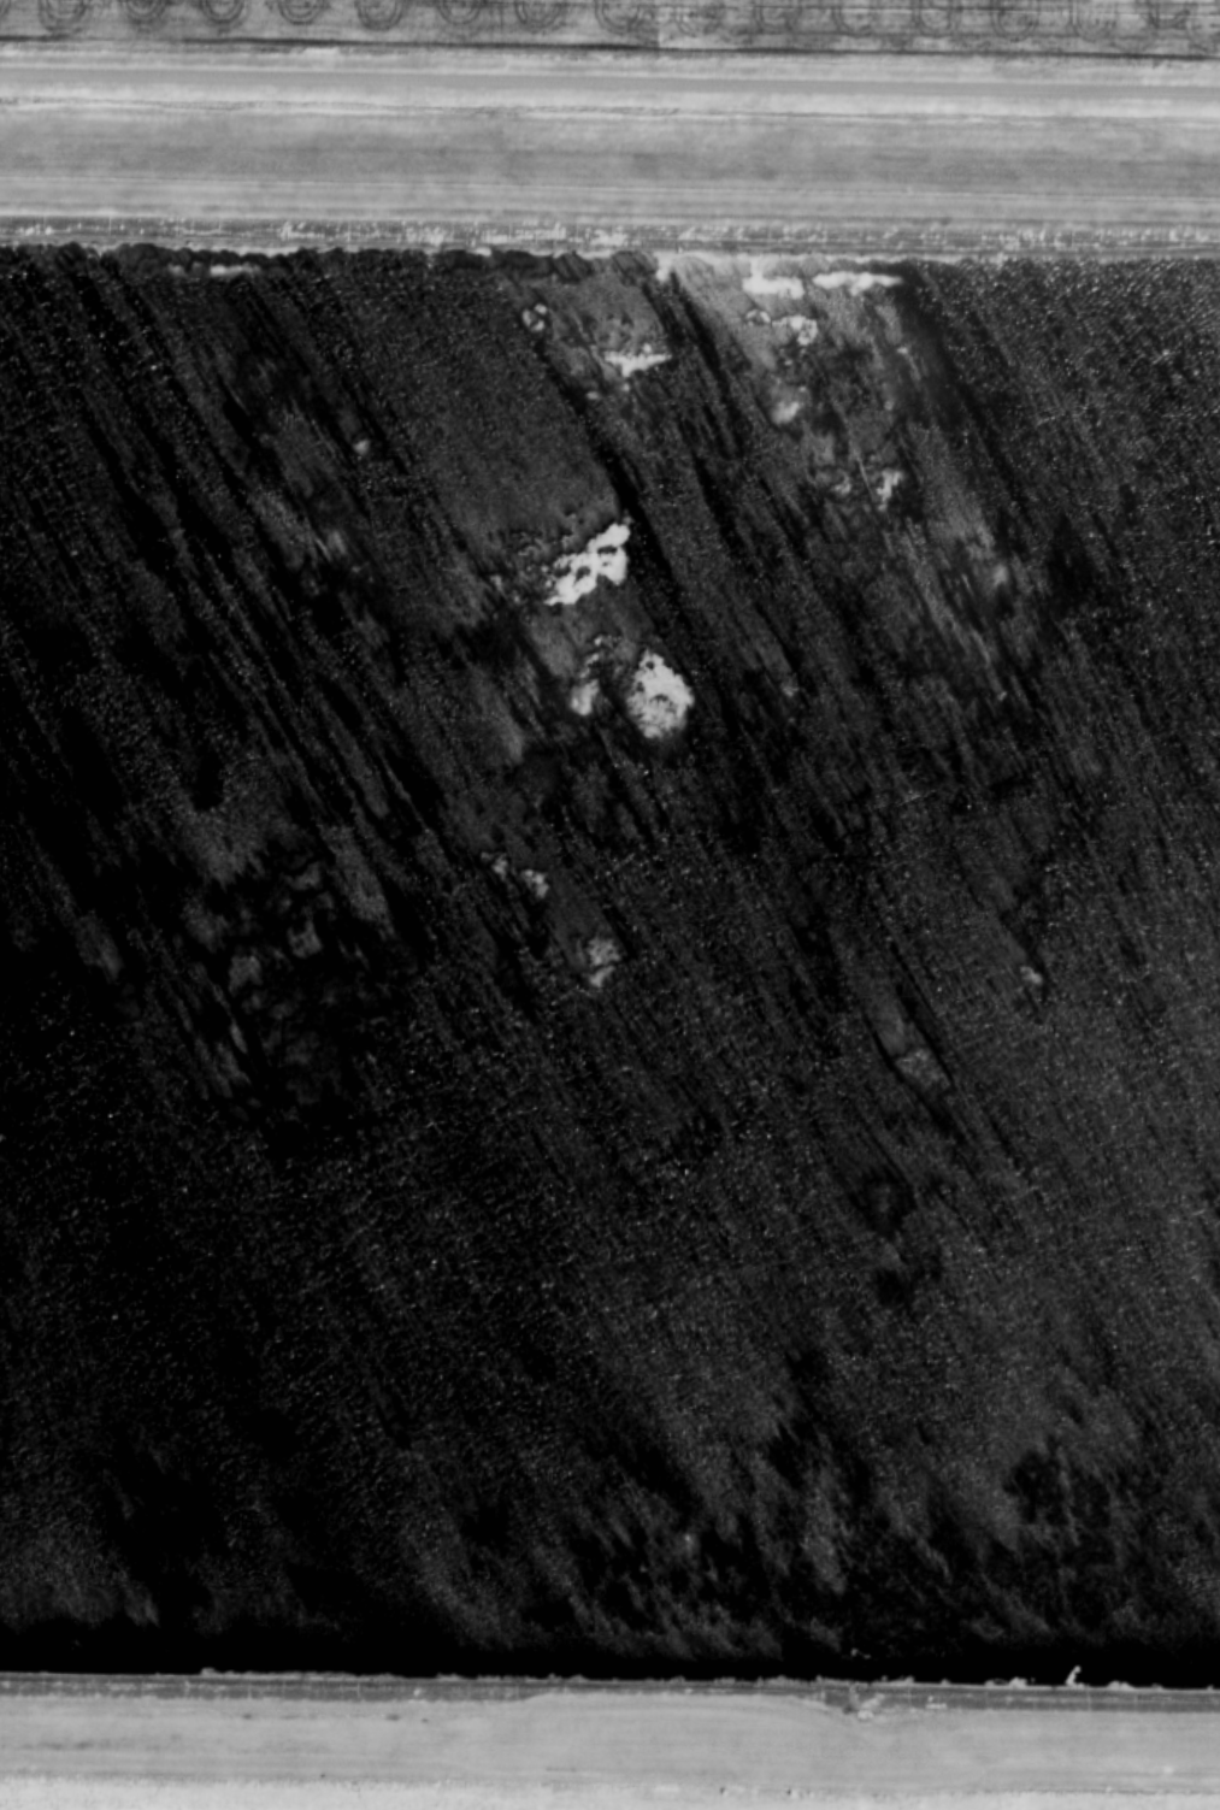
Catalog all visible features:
crop: (642, 24)
road: (609, 84)
wastewater plant: (608, 1000)
road: (611, 1706)

